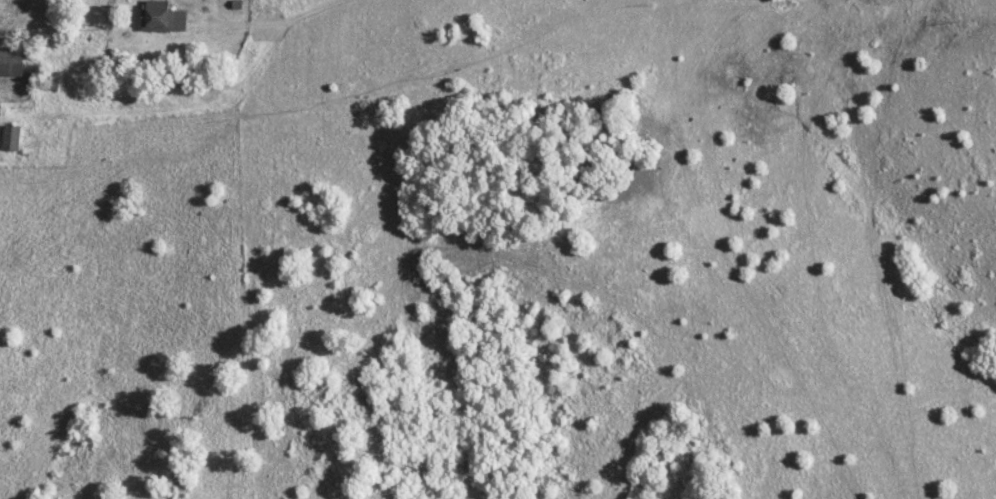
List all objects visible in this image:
building: (161, 16)
road: (239, 29)
building: (10, 62)
building: (51, 80)
road: (209, 120)
building: (10, 138)

